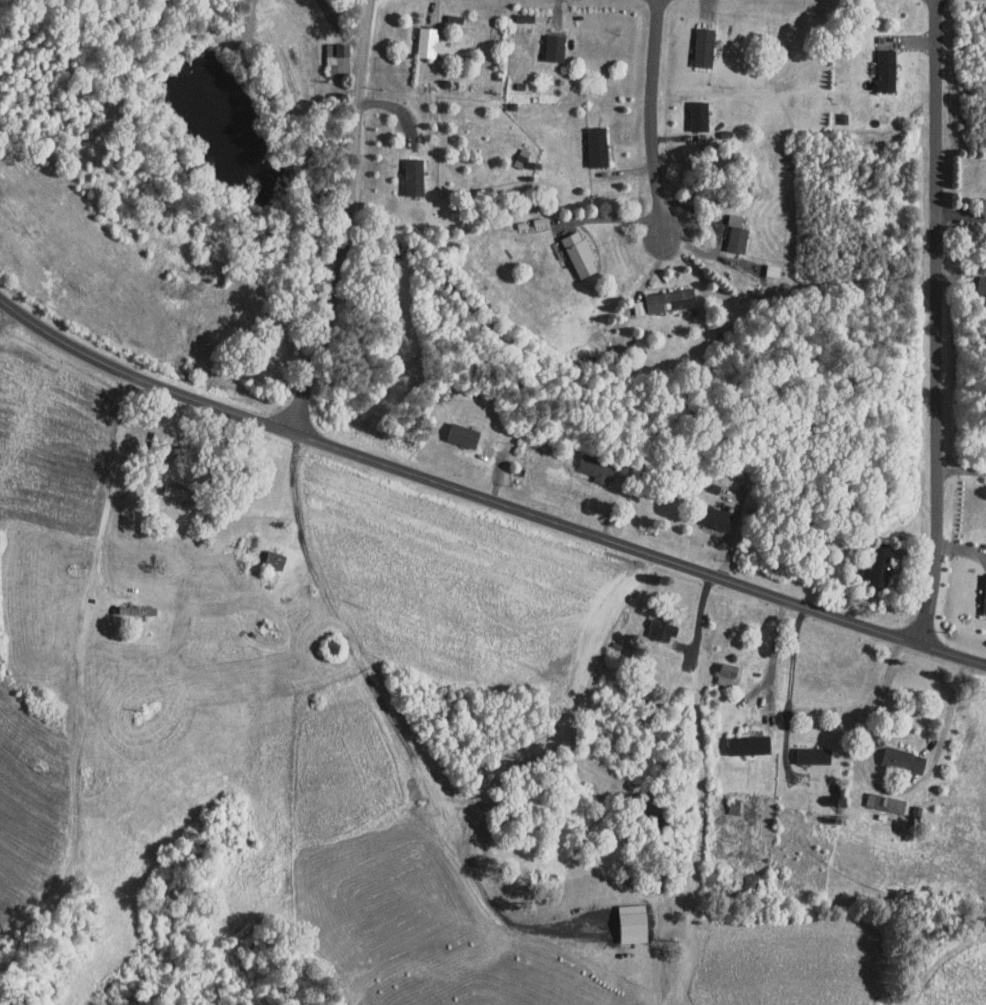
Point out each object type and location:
building: (419, 36)
building: (693, 40)
building: (544, 41)
building: (326, 56)
building: (876, 64)
building: (688, 109)
road: (652, 117)
building: (587, 140)
building: (403, 170)
road: (961, 216)
road: (610, 219)
road: (348, 220)
building: (726, 233)
building: (569, 248)
building: (977, 279)
building: (660, 293)
building: (629, 301)
road: (937, 323)
building: (454, 429)
building: (154, 436)
building: (586, 462)
road: (962, 470)
road: (108, 480)
road: (485, 499)
building: (706, 512)
building: (265, 553)
building: (869, 561)
building: (980, 589)
building: (651, 622)
road: (774, 643)
building: (718, 667)
road: (785, 690)
road: (389, 718)
building: (738, 738)
building: (803, 749)
building: (895, 754)
road: (880, 788)
building: (875, 796)
building: (723, 800)
building: (624, 917)

